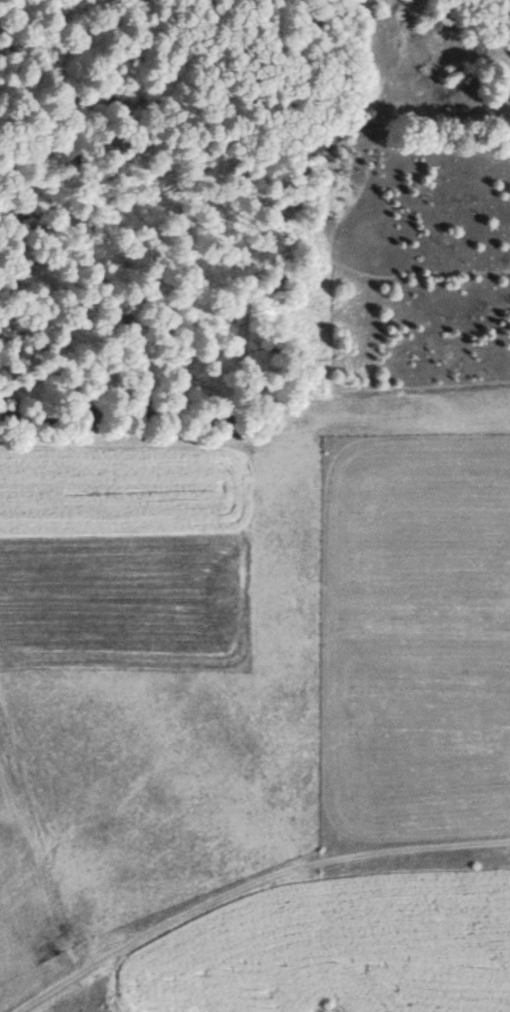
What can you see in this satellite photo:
road: (251, 888)

